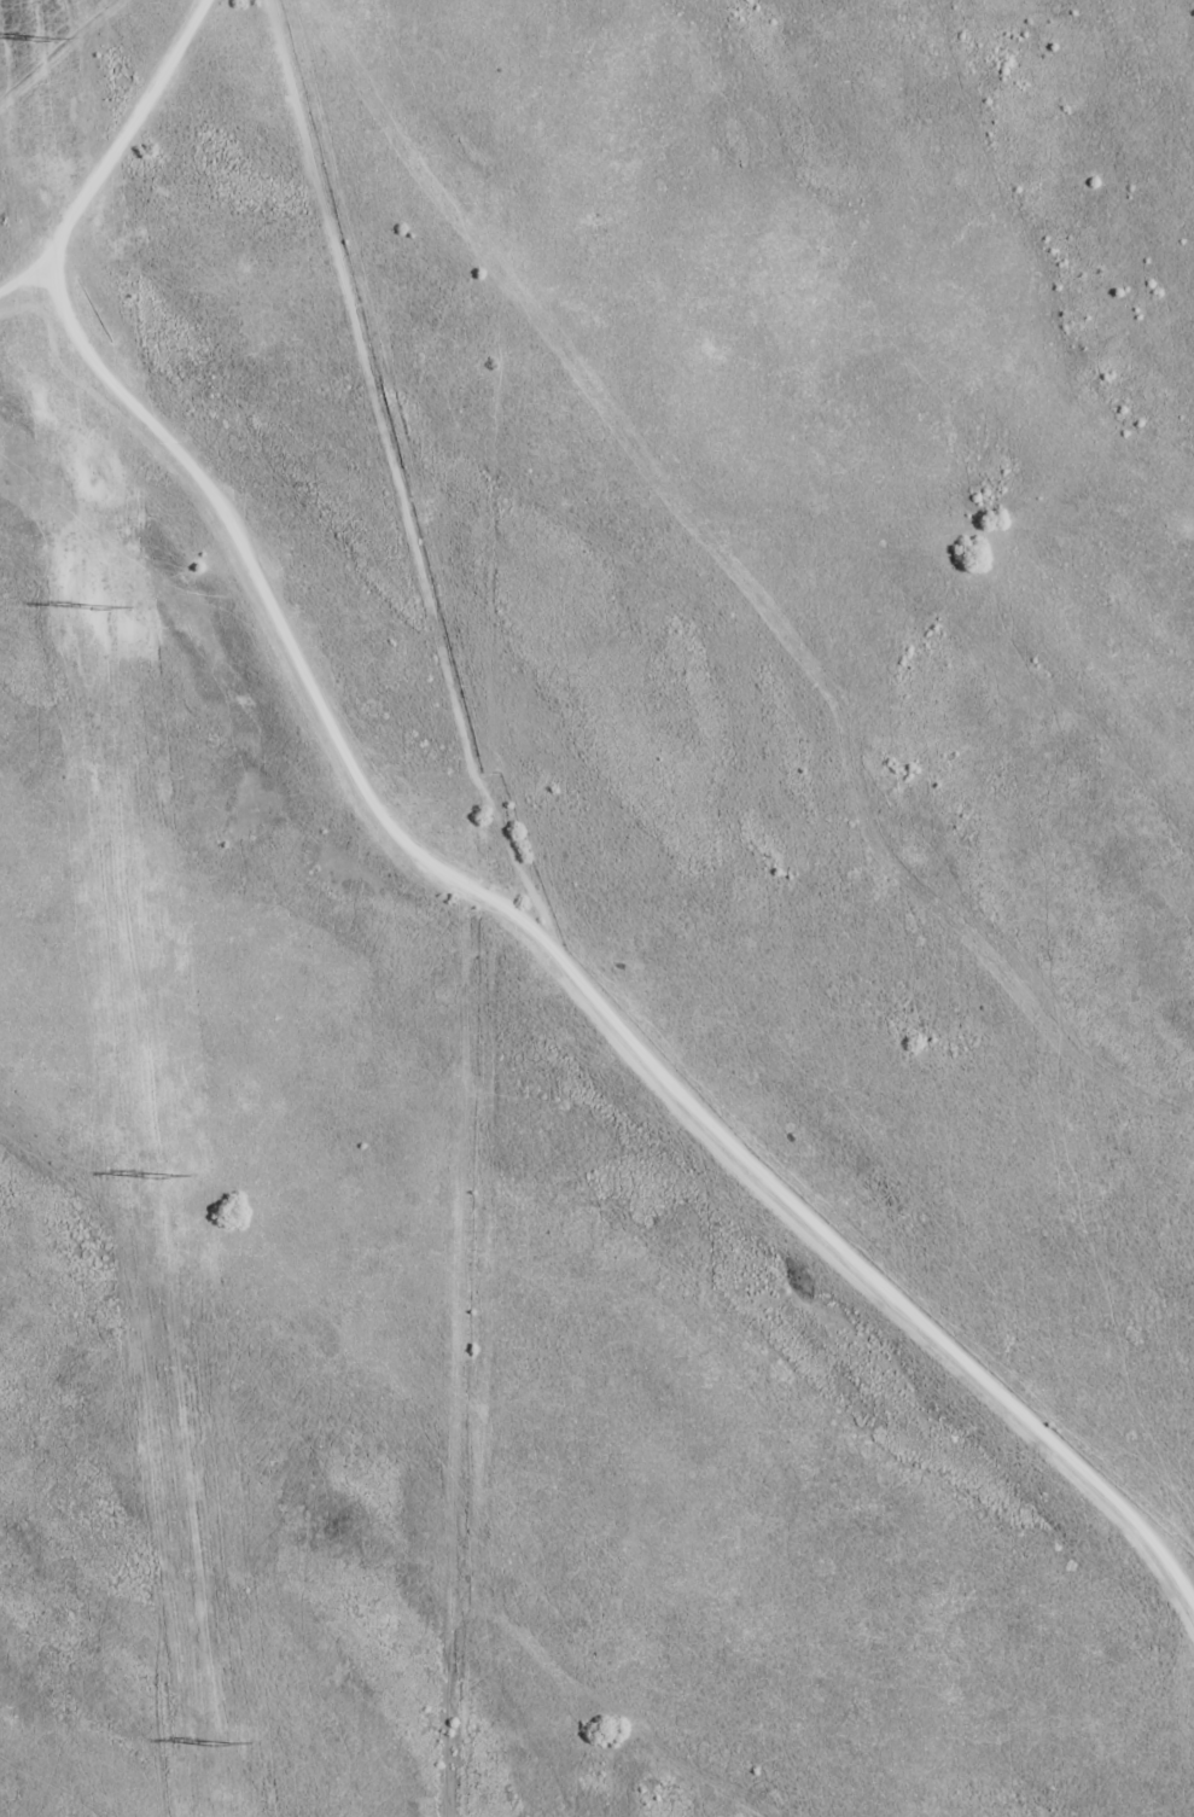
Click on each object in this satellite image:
road: (111, 157)

